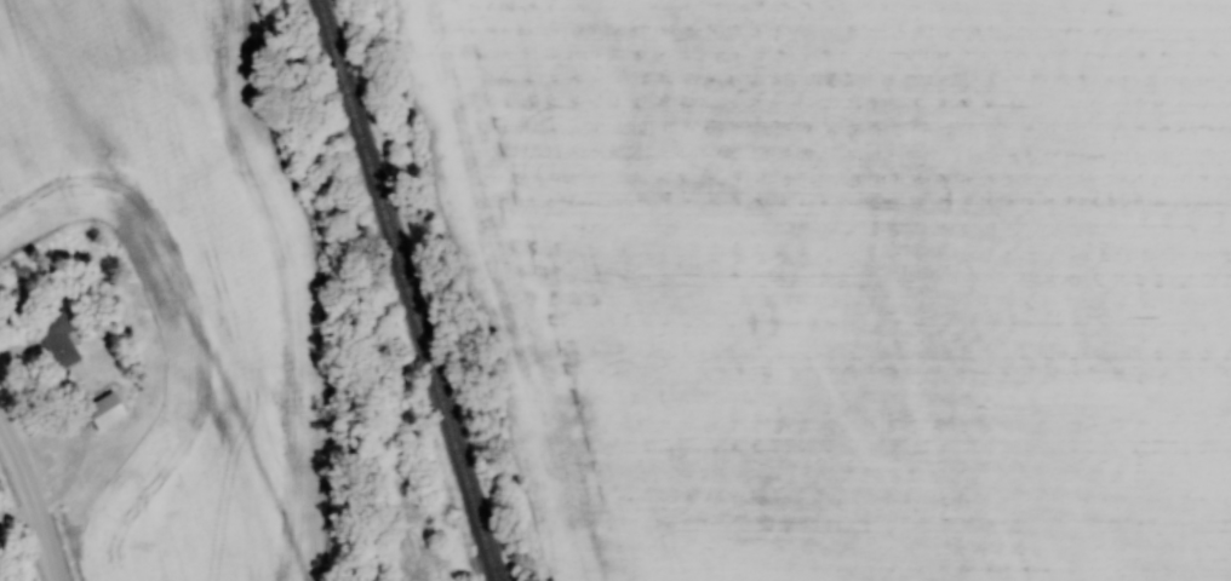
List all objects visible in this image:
railway: (405, 290)
building: (56, 339)
building: (103, 410)
road: (75, 474)
road: (33, 495)
road: (18, 517)

